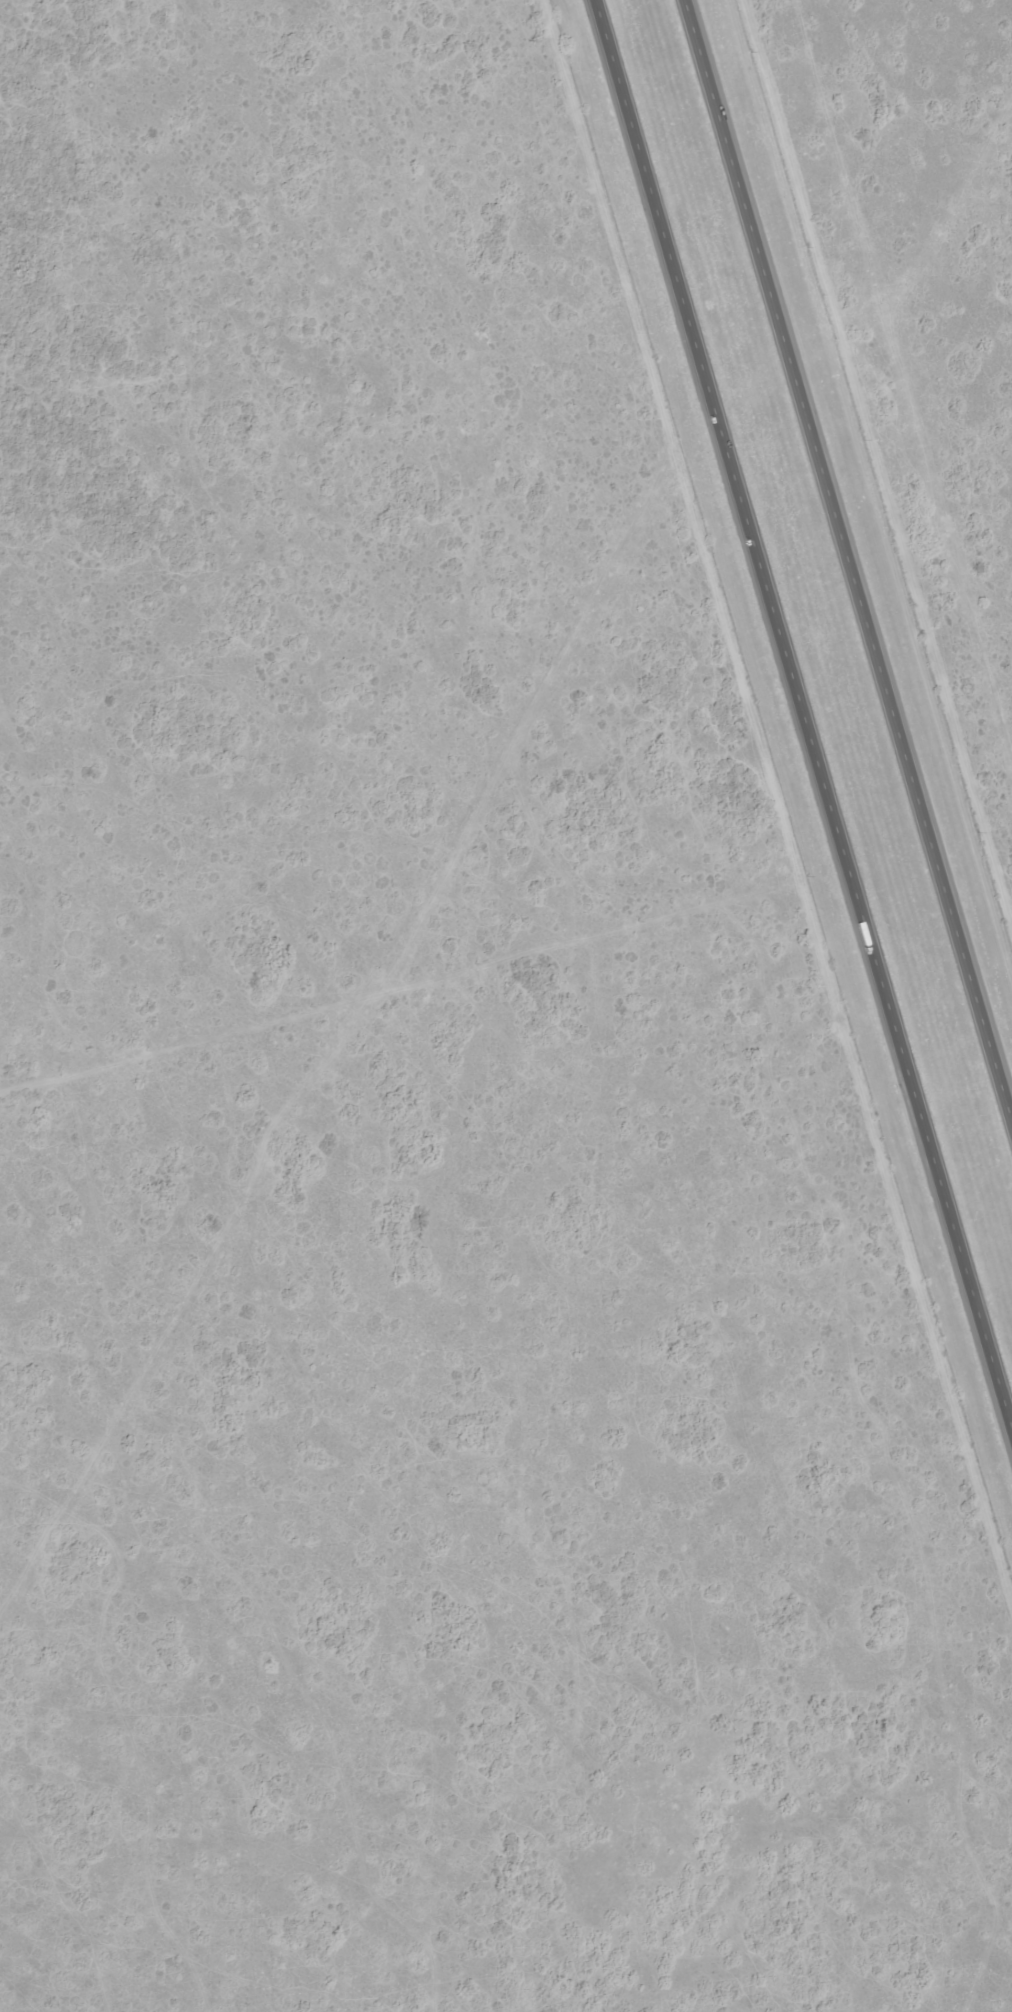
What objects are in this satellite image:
road: (850, 554)
road: (805, 707)

